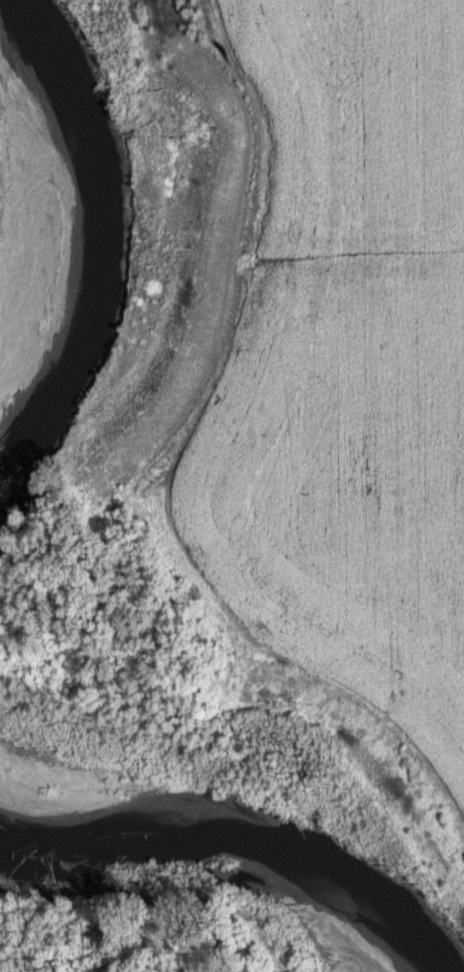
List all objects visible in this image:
river: (56, 127)
river: (205, 824)

